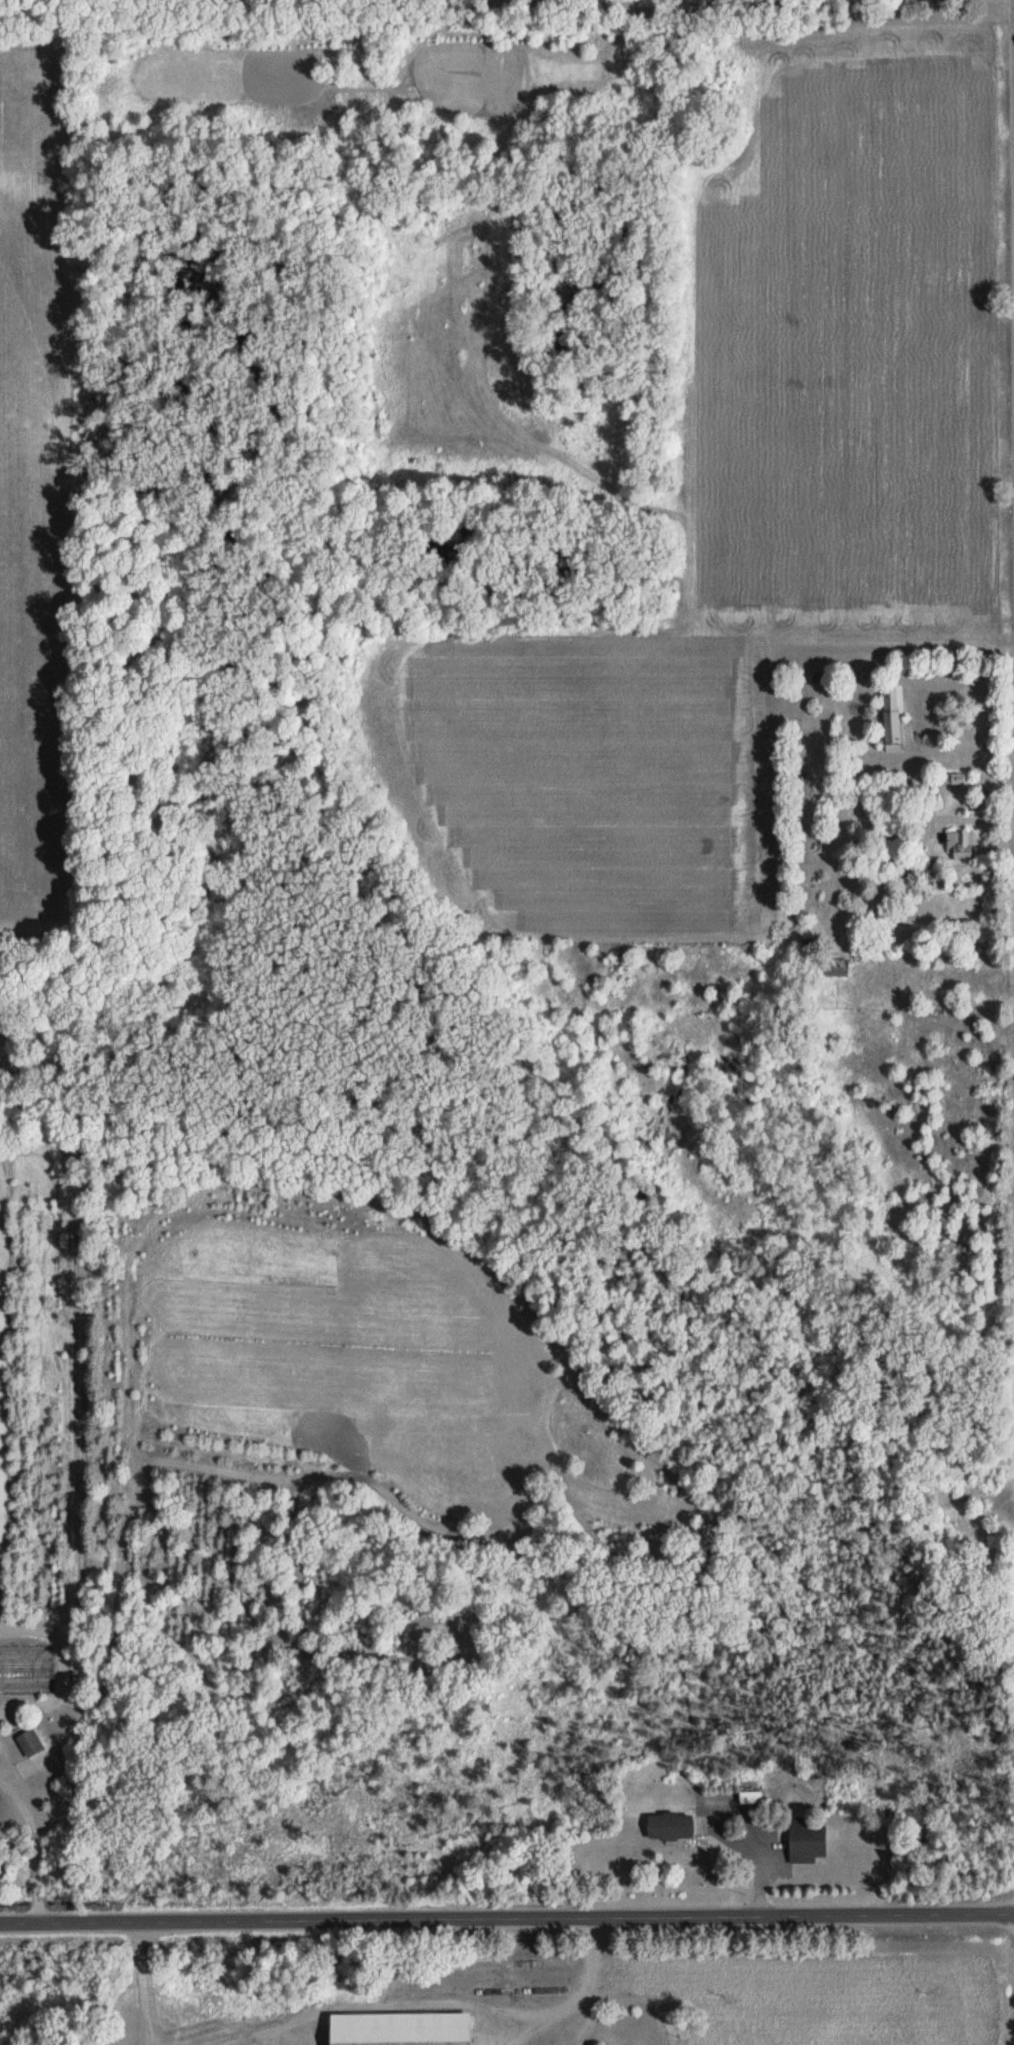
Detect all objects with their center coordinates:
building: (893, 718)
building: (959, 844)
building: (835, 967)
road: (65, 1669)
building: (29, 1742)
building: (750, 1796)
building: (670, 1825)
building: (806, 1842)
road: (35, 1843)
road: (507, 1918)
road: (143, 1983)
road: (585, 1985)
building: (400, 2028)

